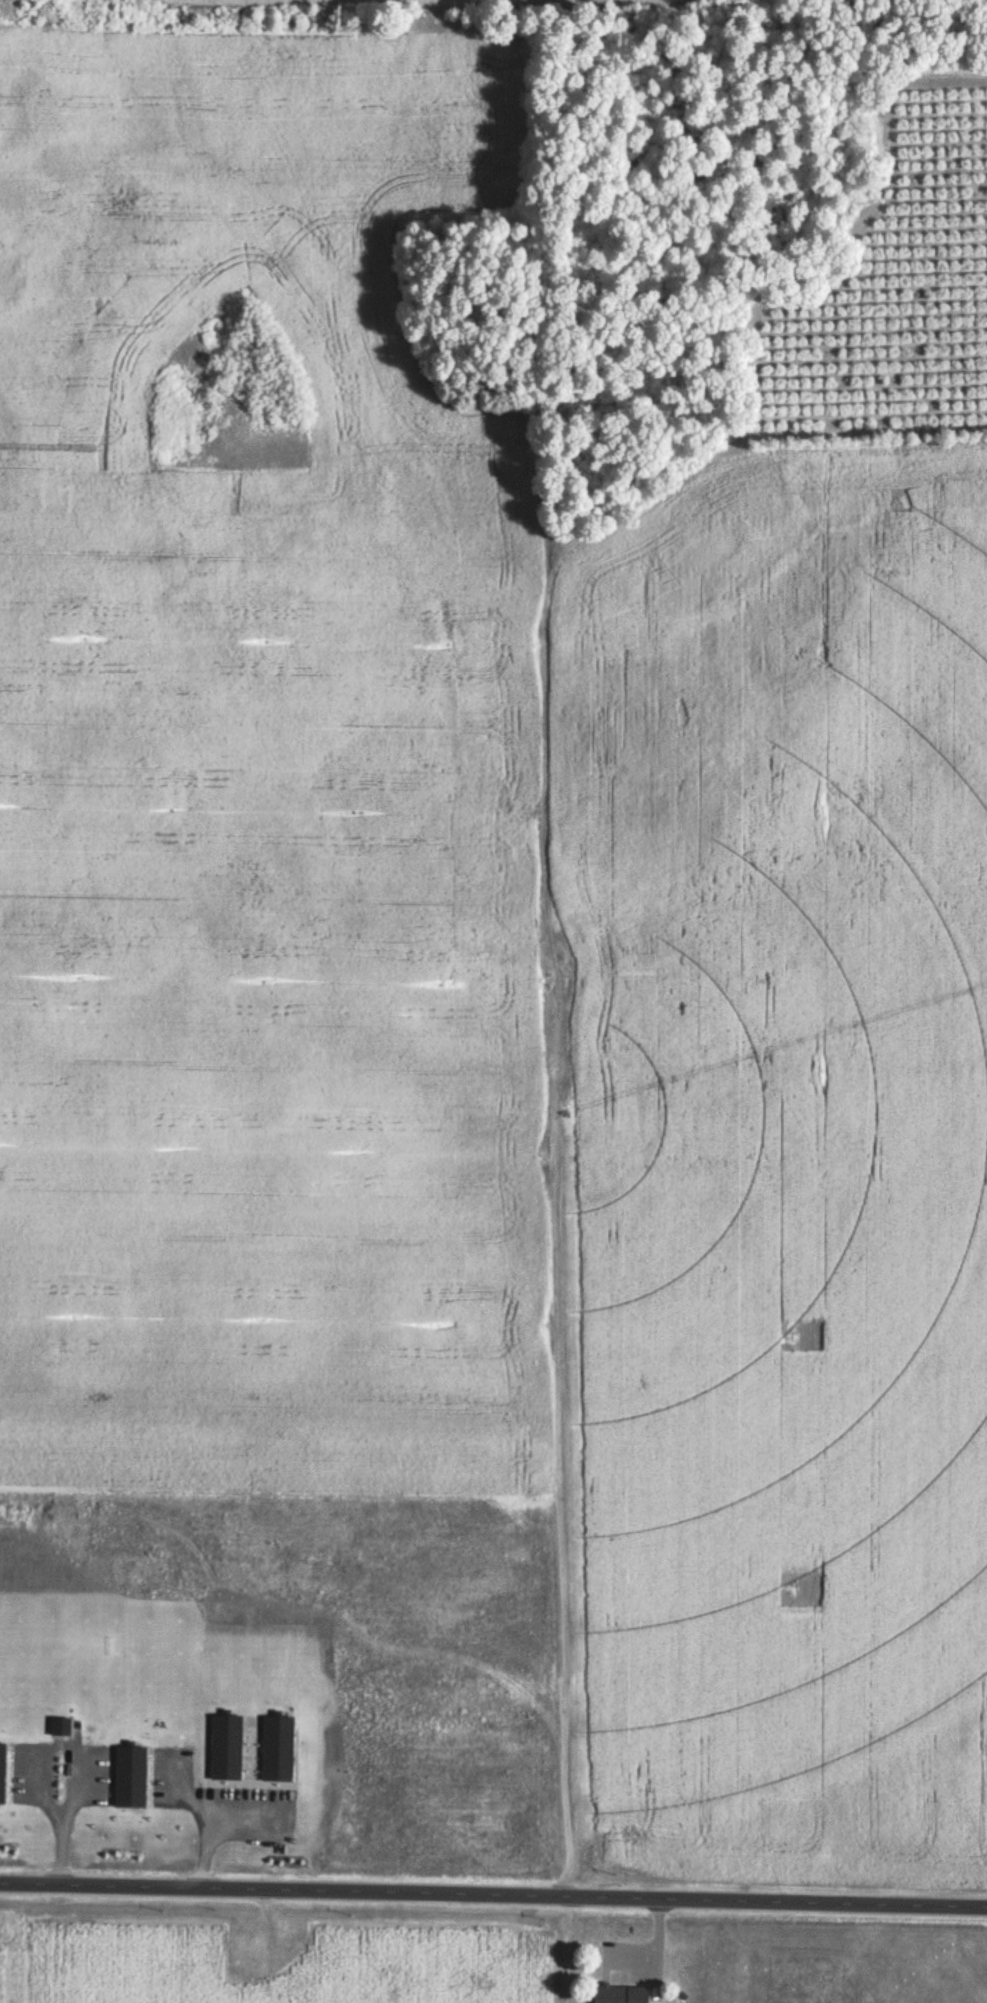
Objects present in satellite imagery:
road: (493, 1895)
building: (242, 1945)
airport: (856, 1968)
airport runway: (940, 1983)
building: (627, 1995)

